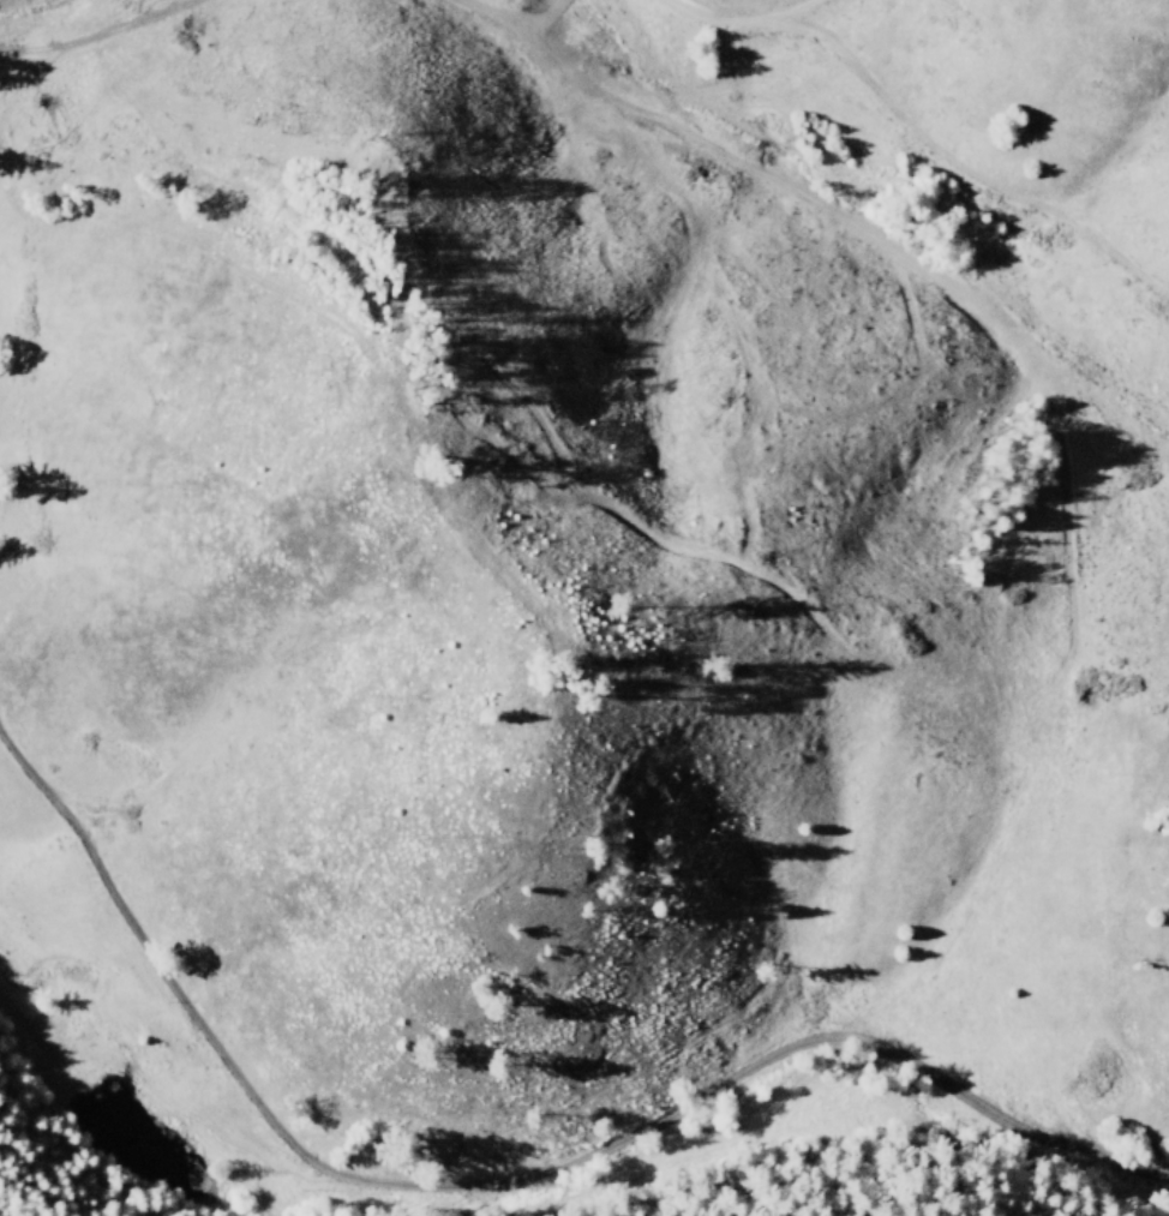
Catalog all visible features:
road: (499, 1193)

